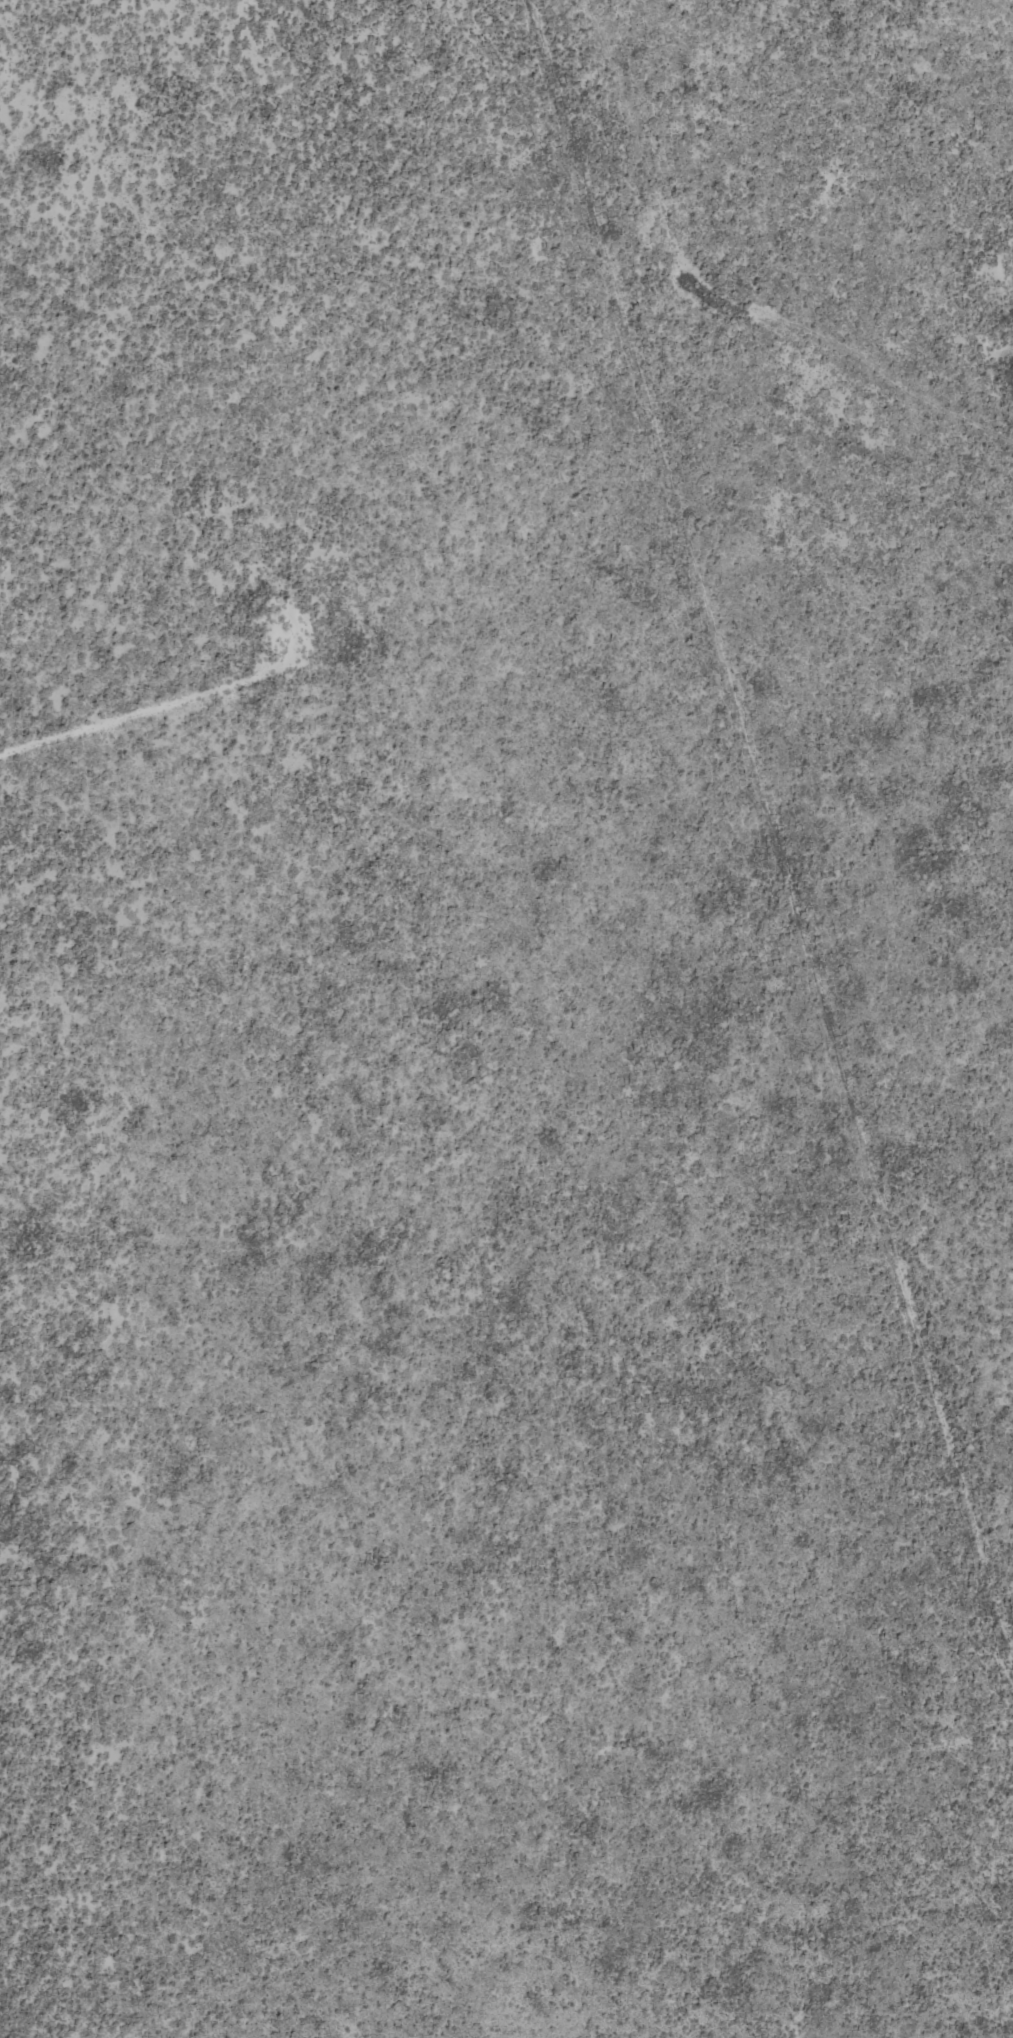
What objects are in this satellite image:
road: (160, 697)

